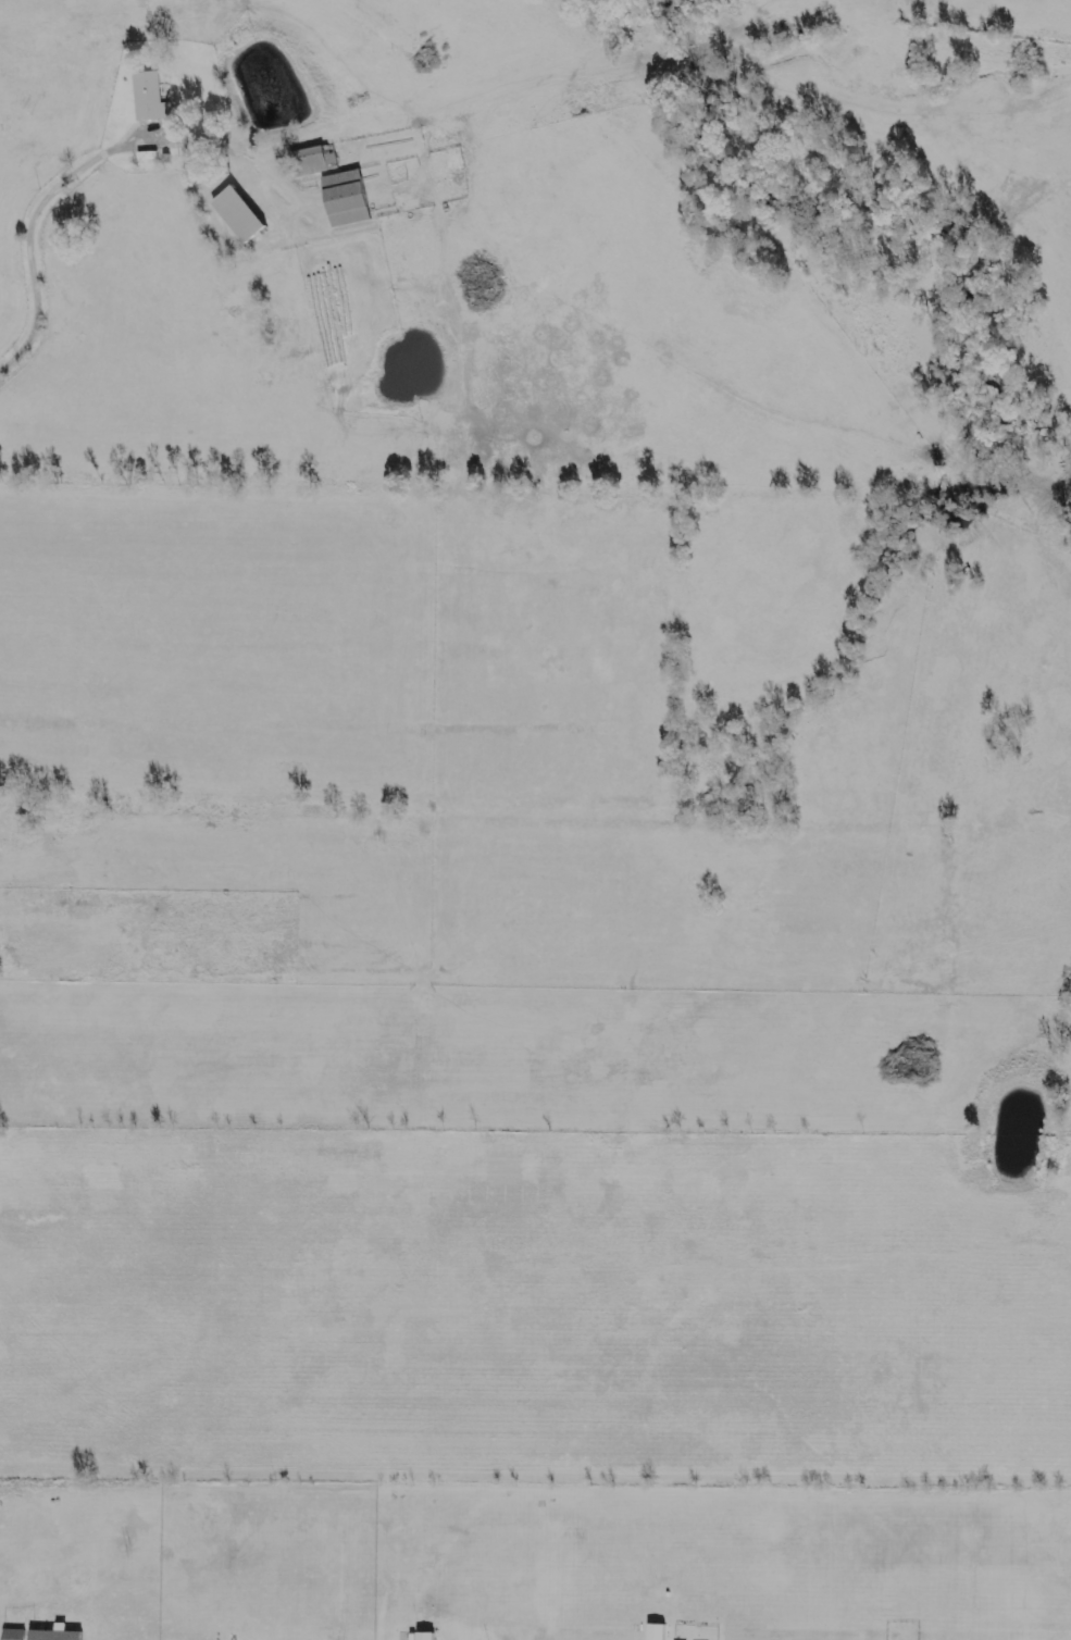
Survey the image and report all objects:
building: (148, 97)
building: (309, 163)
road: (46, 198)
building: (341, 200)
building: (235, 216)
building: (660, 1631)
building: (17, 1633)
building: (60, 1633)
building: (429, 1636)

